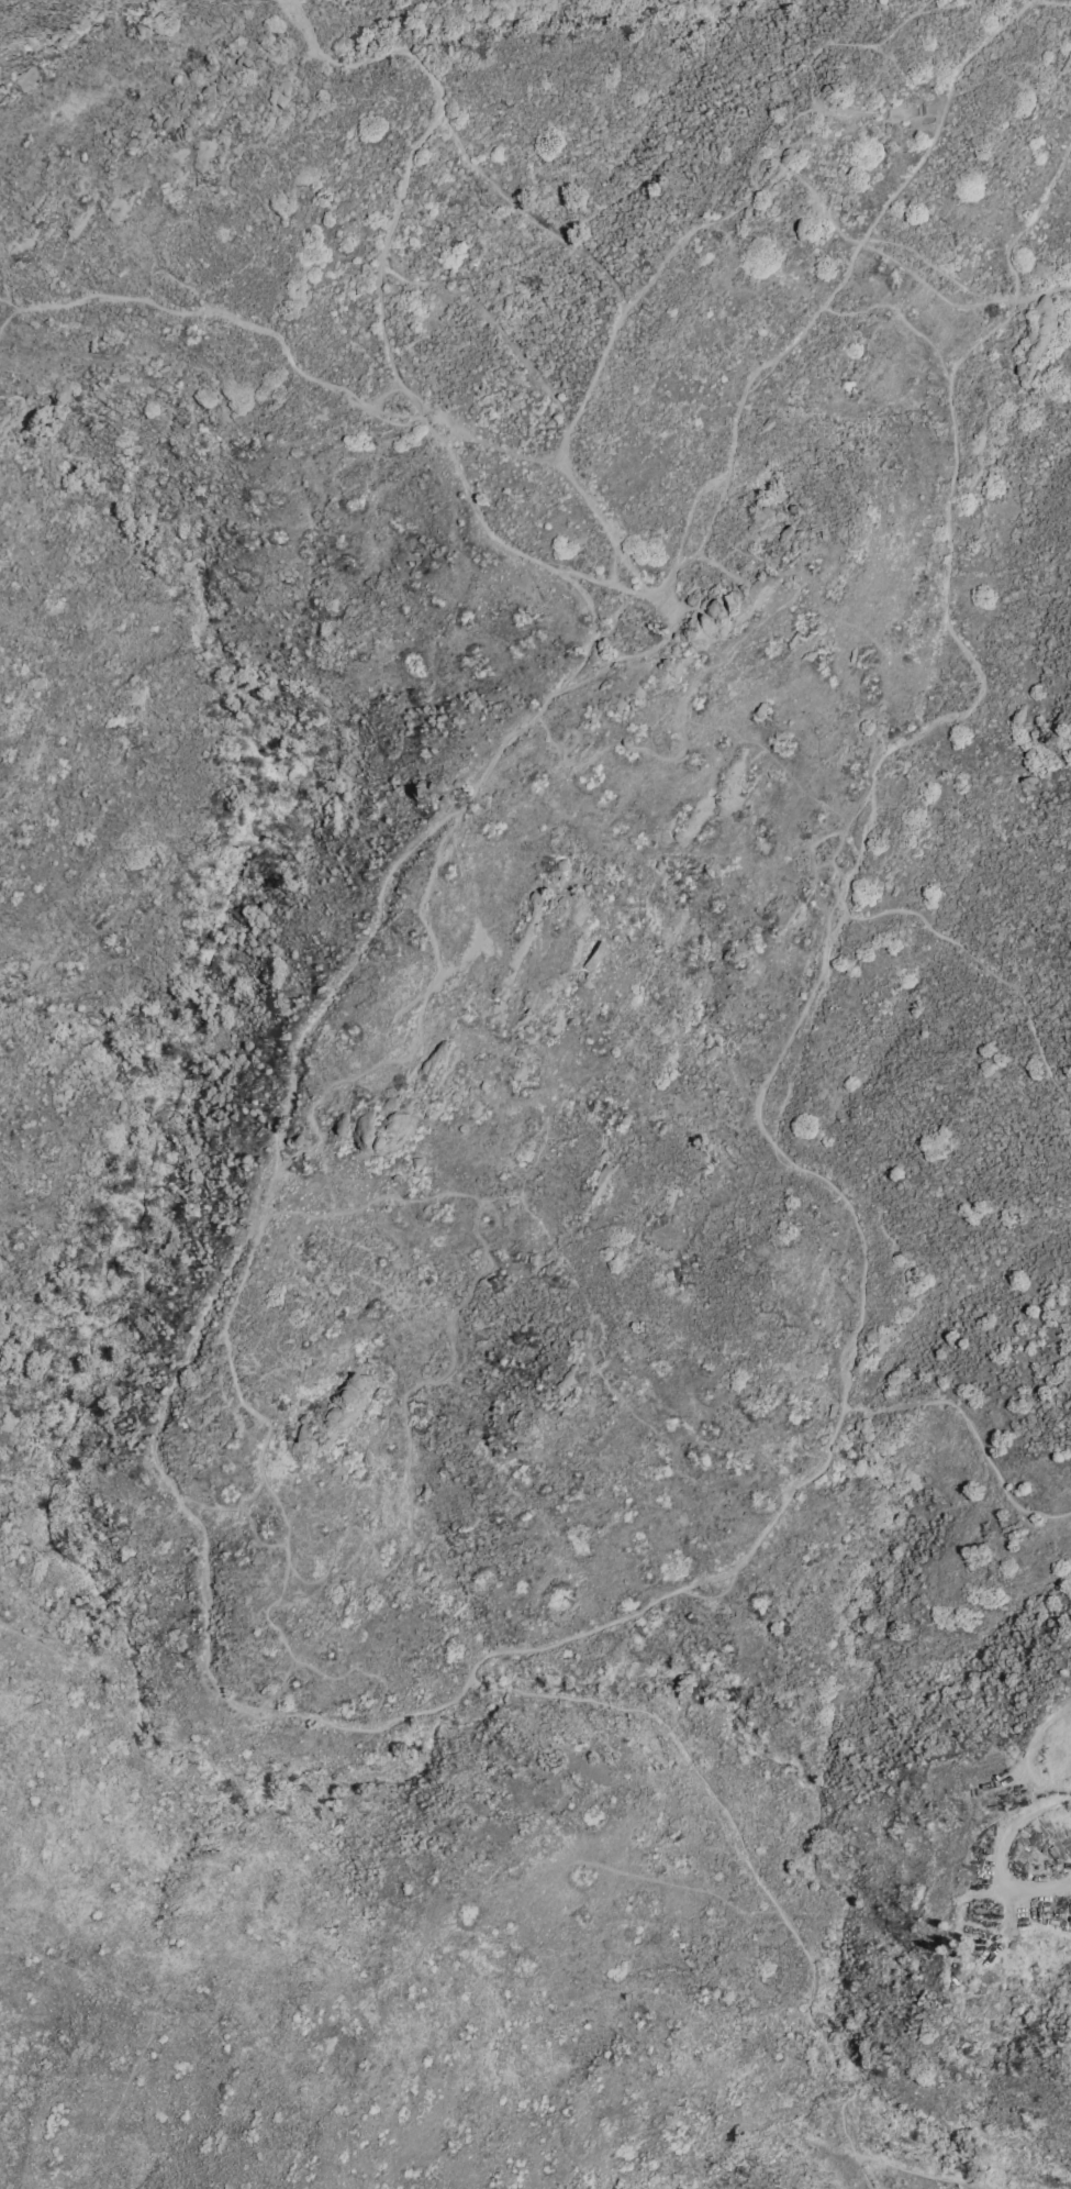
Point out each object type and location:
road: (1068, 0)
road: (1023, 1)
road: (910, 19)
road: (782, 62)
road: (905, 266)
road: (1014, 266)
road: (213, 309)
road: (591, 383)
road: (743, 409)
road: (588, 602)
road: (636, 652)
road: (877, 762)
road: (458, 957)
road: (992, 968)
road: (346, 972)
road: (791, 1074)
road: (250, 1228)
road: (581, 1330)
road: (450, 1366)
road: (973, 1428)
road: (276, 1499)
road: (228, 1506)
road: (258, 1538)
road: (1033, 1755)
road: (1015, 1829)
road: (861, 2171)

